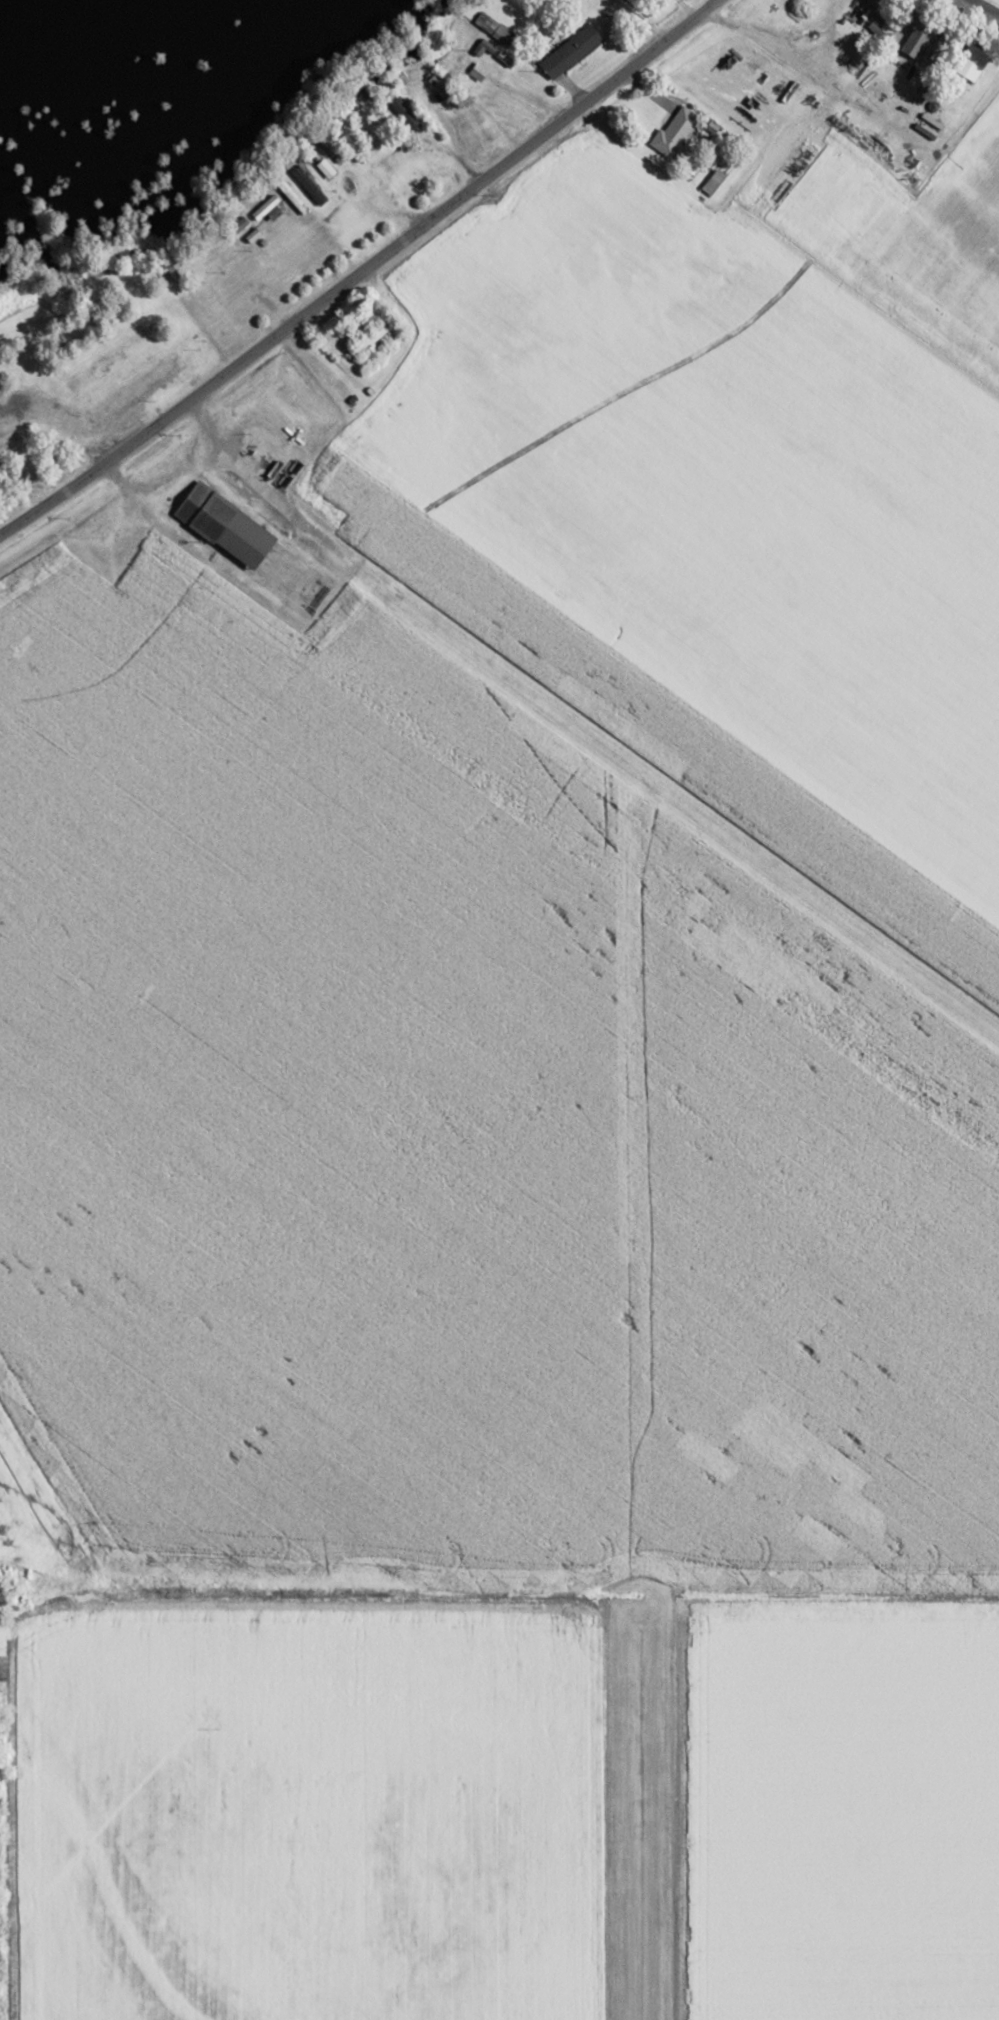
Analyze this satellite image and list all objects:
road: (980, 10)
building: (487, 28)
road: (845, 30)
building: (908, 41)
building: (564, 52)
road: (851, 102)
building: (399, 110)
building: (670, 130)
building: (209, 271)
road: (360, 272)
building: (361, 339)
building: (136, 386)
building: (11, 399)
building: (216, 525)
airport runway: (654, 787)
road: (651, 874)
road: (648, 1797)

